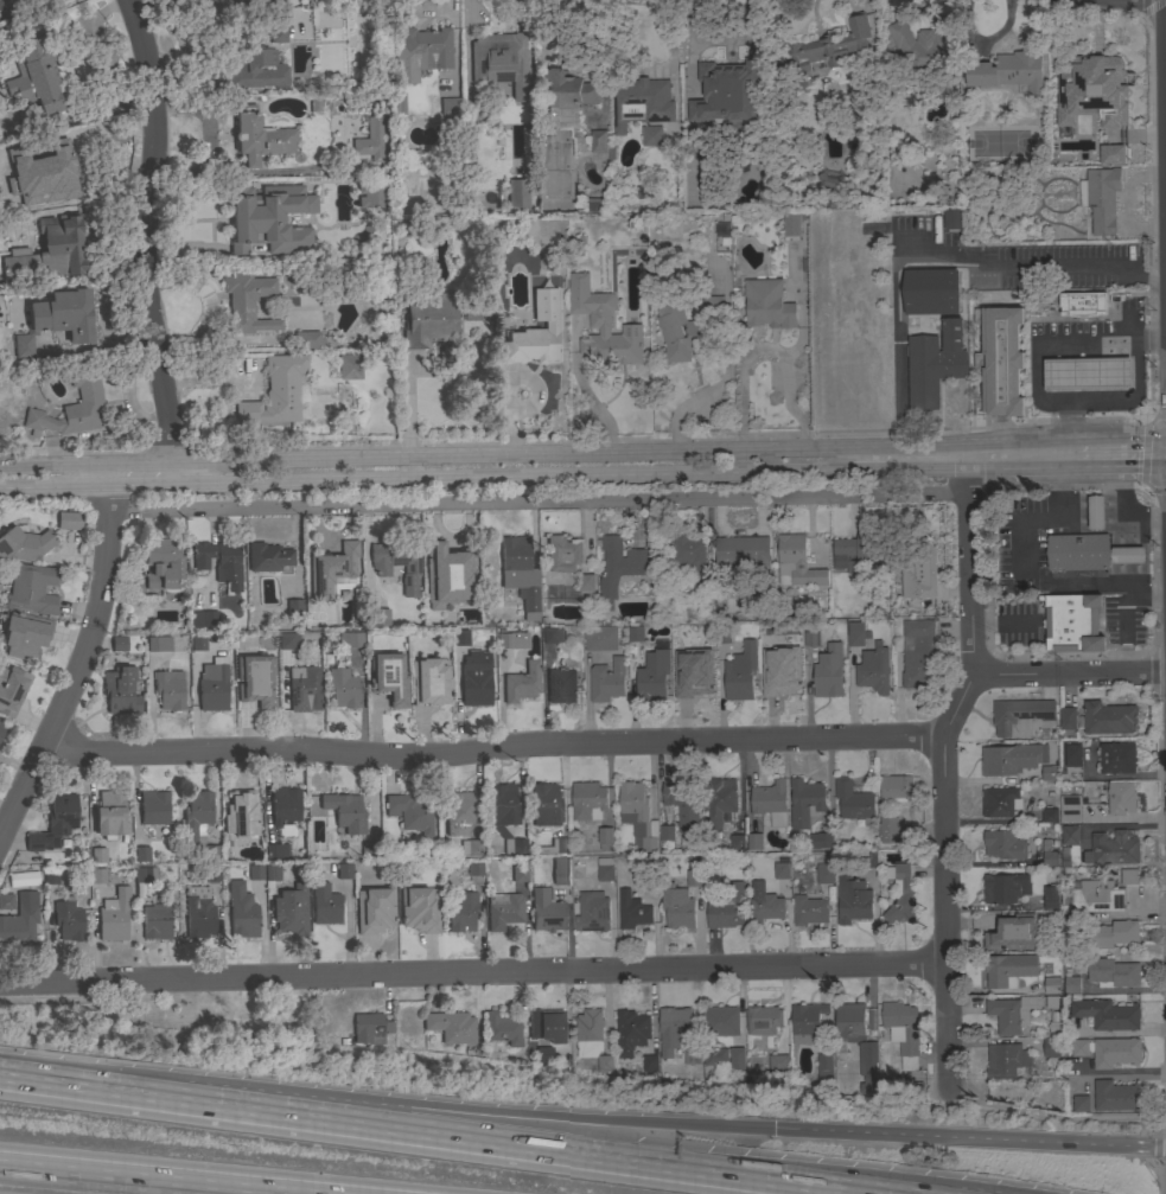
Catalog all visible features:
building: (4, 4)
road: (1152, 6)
building: (356, 34)
building: (926, 46)
building: (822, 50)
building: (420, 53)
building: (501, 63)
building: (257, 68)
building: (1008, 71)
building: (38, 78)
building: (1101, 92)
building: (729, 95)
building: (566, 96)
building: (642, 102)
building: (397, 103)
building: (450, 106)
building: (473, 116)
building: (1062, 119)
building: (652, 135)
building: (259, 138)
building: (369, 141)
building: (599, 141)
road: (1161, 145)
building: (1062, 151)
building: (1114, 155)
building: (556, 160)
building: (51, 170)
building: (830, 181)
building: (311, 186)
building: (516, 193)
building: (370, 196)
building: (762, 197)
building: (1101, 198)
building: (595, 203)
building: (839, 203)
building: (873, 218)
building: (951, 218)
building: (791, 224)
building: (247, 228)
building: (0, 229)
road: (151, 240)
building: (47, 253)
road: (932, 253)
building: (934, 292)
building: (306, 299)
building: (247, 302)
building: (1082, 302)
building: (767, 304)
building: (57, 319)
building: (434, 320)
building: (603, 325)
building: (677, 330)
road: (1151, 339)
building: (307, 340)
road: (1126, 340)
building: (529, 345)
gas station: (1084, 350)
road: (791, 351)
building: (1000, 359)
building: (935, 363)
building: (349, 366)
building: (1088, 372)
gas station: (1088, 372)
road: (743, 378)
building: (275, 392)
building: (72, 407)
road: (1089, 442)
road: (988, 445)
road: (482, 453)
road: (1147, 453)
road: (1120, 467)
road: (1039, 468)
road: (985, 470)
road: (905, 471)
road: (422, 478)
road: (536, 500)
building: (1096, 511)
building: (69, 521)
building: (24, 544)
building: (858, 550)
building: (687, 551)
building: (741, 551)
building: (1078, 551)
building: (562, 554)
building: (1128, 554)
building: (268, 557)
road: (967, 558)
building: (219, 562)
building: (397, 562)
building: (797, 563)
building: (919, 563)
building: (163, 566)
building: (620, 566)
building: (446, 567)
road: (1152, 568)
building: (332, 570)
building: (521, 575)
building: (554, 579)
building: (586, 586)
building: (31, 589)
building: (703, 594)
building: (294, 607)
building: (203, 619)
building: (378, 619)
building: (1072, 622)
building: (636, 633)
building: (856, 633)
building: (25, 636)
building: (552, 636)
building: (724, 636)
building: (350, 638)
building: (600, 638)
building: (811, 638)
building: (460, 639)
building: (767, 639)
building: (288, 640)
building: (512, 640)
building: (680, 640)
building: (198, 643)
building: (119, 644)
building: (158, 644)
building: (919, 653)
road: (79, 655)
building: (874, 669)
road: (1152, 670)
building: (828, 671)
building: (740, 672)
building: (652, 675)
building: (785, 676)
building: (388, 678)
building: (254, 681)
building: (607, 681)
building: (696, 681)
building: (429, 682)
building: (474, 682)
building: (521, 683)
building: (561, 685)
building: (212, 688)
building: (11, 689)
building: (304, 689)
building: (342, 689)
building: (120, 690)
building: (168, 690)
building: (1022, 715)
building: (1068, 717)
building: (1108, 717)
building: (1, 728)
road: (623, 741)
building: (1072, 755)
building: (1011, 758)
building: (1117, 758)
building: (1049, 772)
building: (896, 787)
building: (1121, 798)
building: (588, 800)
building: (854, 800)
building: (771, 802)
building: (805, 802)
building: (1000, 802)
building: (683, 803)
building: (720, 804)
building: (544, 805)
building: (153, 807)
building: (285, 809)
building: (1071, 809)
building: (345, 812)
building: (410, 812)
building: (459, 813)
building: (110, 815)
building: (240, 815)
building: (638, 815)
building: (1050, 815)
building: (196, 816)
building: (504, 817)
building: (55, 823)
building: (888, 829)
building: (667, 832)
building: (1070, 835)
building: (605, 837)
building: (821, 839)
building: (754, 841)
building: (737, 842)
building: (1003, 844)
building: (555, 847)
building: (470, 848)
building: (1114, 848)
building: (276, 851)
building: (141, 853)
building: (211, 853)
building: (1049, 854)
building: (97, 856)
building: (868, 860)
building: (474, 868)
building: (605, 869)
building: (782, 870)
building: (343, 871)
building: (560, 871)
building: (254, 873)
building: (272, 873)
building: (211, 874)
building: (518, 874)
building: (824, 874)
building: (145, 875)
building: (97, 876)
building: (1129, 876)
building: (49, 877)
building: (694, 877)
building: (650, 882)
building: (1005, 888)
building: (900, 893)
building: (1094, 896)
building: (853, 900)
building: (1050, 900)
building: (6, 901)
building: (677, 906)
building: (727, 907)
building: (766, 908)
building: (326, 909)
building: (419, 909)
building: (809, 909)
building: (291, 911)
building: (374, 911)
building: (460, 911)
building: (503, 911)
building: (546, 911)
building: (632, 911)
road: (942, 911)
building: (241, 912)
building: (592, 912)
building: (198, 913)
building: (114, 917)
building: (68, 920)
building: (20, 921)
building: (157, 921)
building: (1013, 933)
building: (1113, 933)
building: (1007, 969)
building: (1113, 972)
road: (471, 973)
building: (1052, 984)
building: (1072, 984)
building: (1011, 1013)
building: (1106, 1013)
park: (228, 1017)
building: (720, 1020)
building: (764, 1020)
building: (807, 1021)
building: (848, 1026)
building: (451, 1027)
building: (370, 1028)
building: (673, 1028)
road: (282, 1029)
building: (502, 1029)
building: (631, 1030)
building: (903, 1030)
building: (588, 1033)
building: (544, 1034)
building: (1051, 1047)
building: (1079, 1047)
building: (491, 1052)
building: (1115, 1052)
building: (692, 1055)
building: (714, 1055)
building: (1006, 1060)
building: (605, 1062)
building: (650, 1062)
building: (737, 1062)
building: (778, 1062)
building: (824, 1066)
building: (868, 1066)
building: (910, 1073)
building: (1115, 1096)
building: (1081, 1103)
road: (387, 1107)
road: (1050, 1116)
road: (413, 1137)
road: (970, 1139)
road: (1157, 1144)
road: (616, 1153)
road: (95, 1171)
road: (1158, 1177)
road: (229, 1187)
road: (251, 1187)

